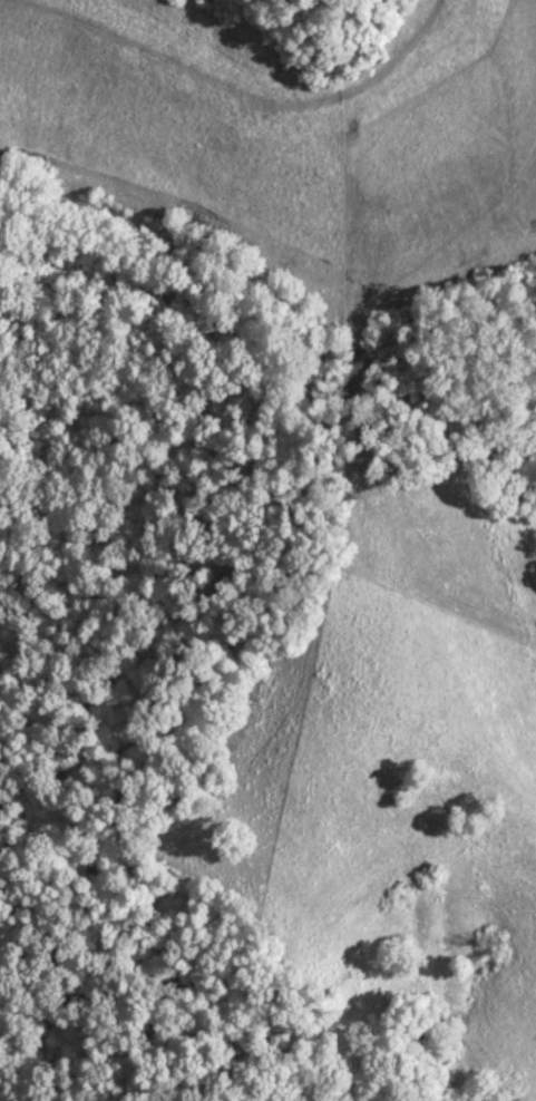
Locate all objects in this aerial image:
road: (240, 98)

